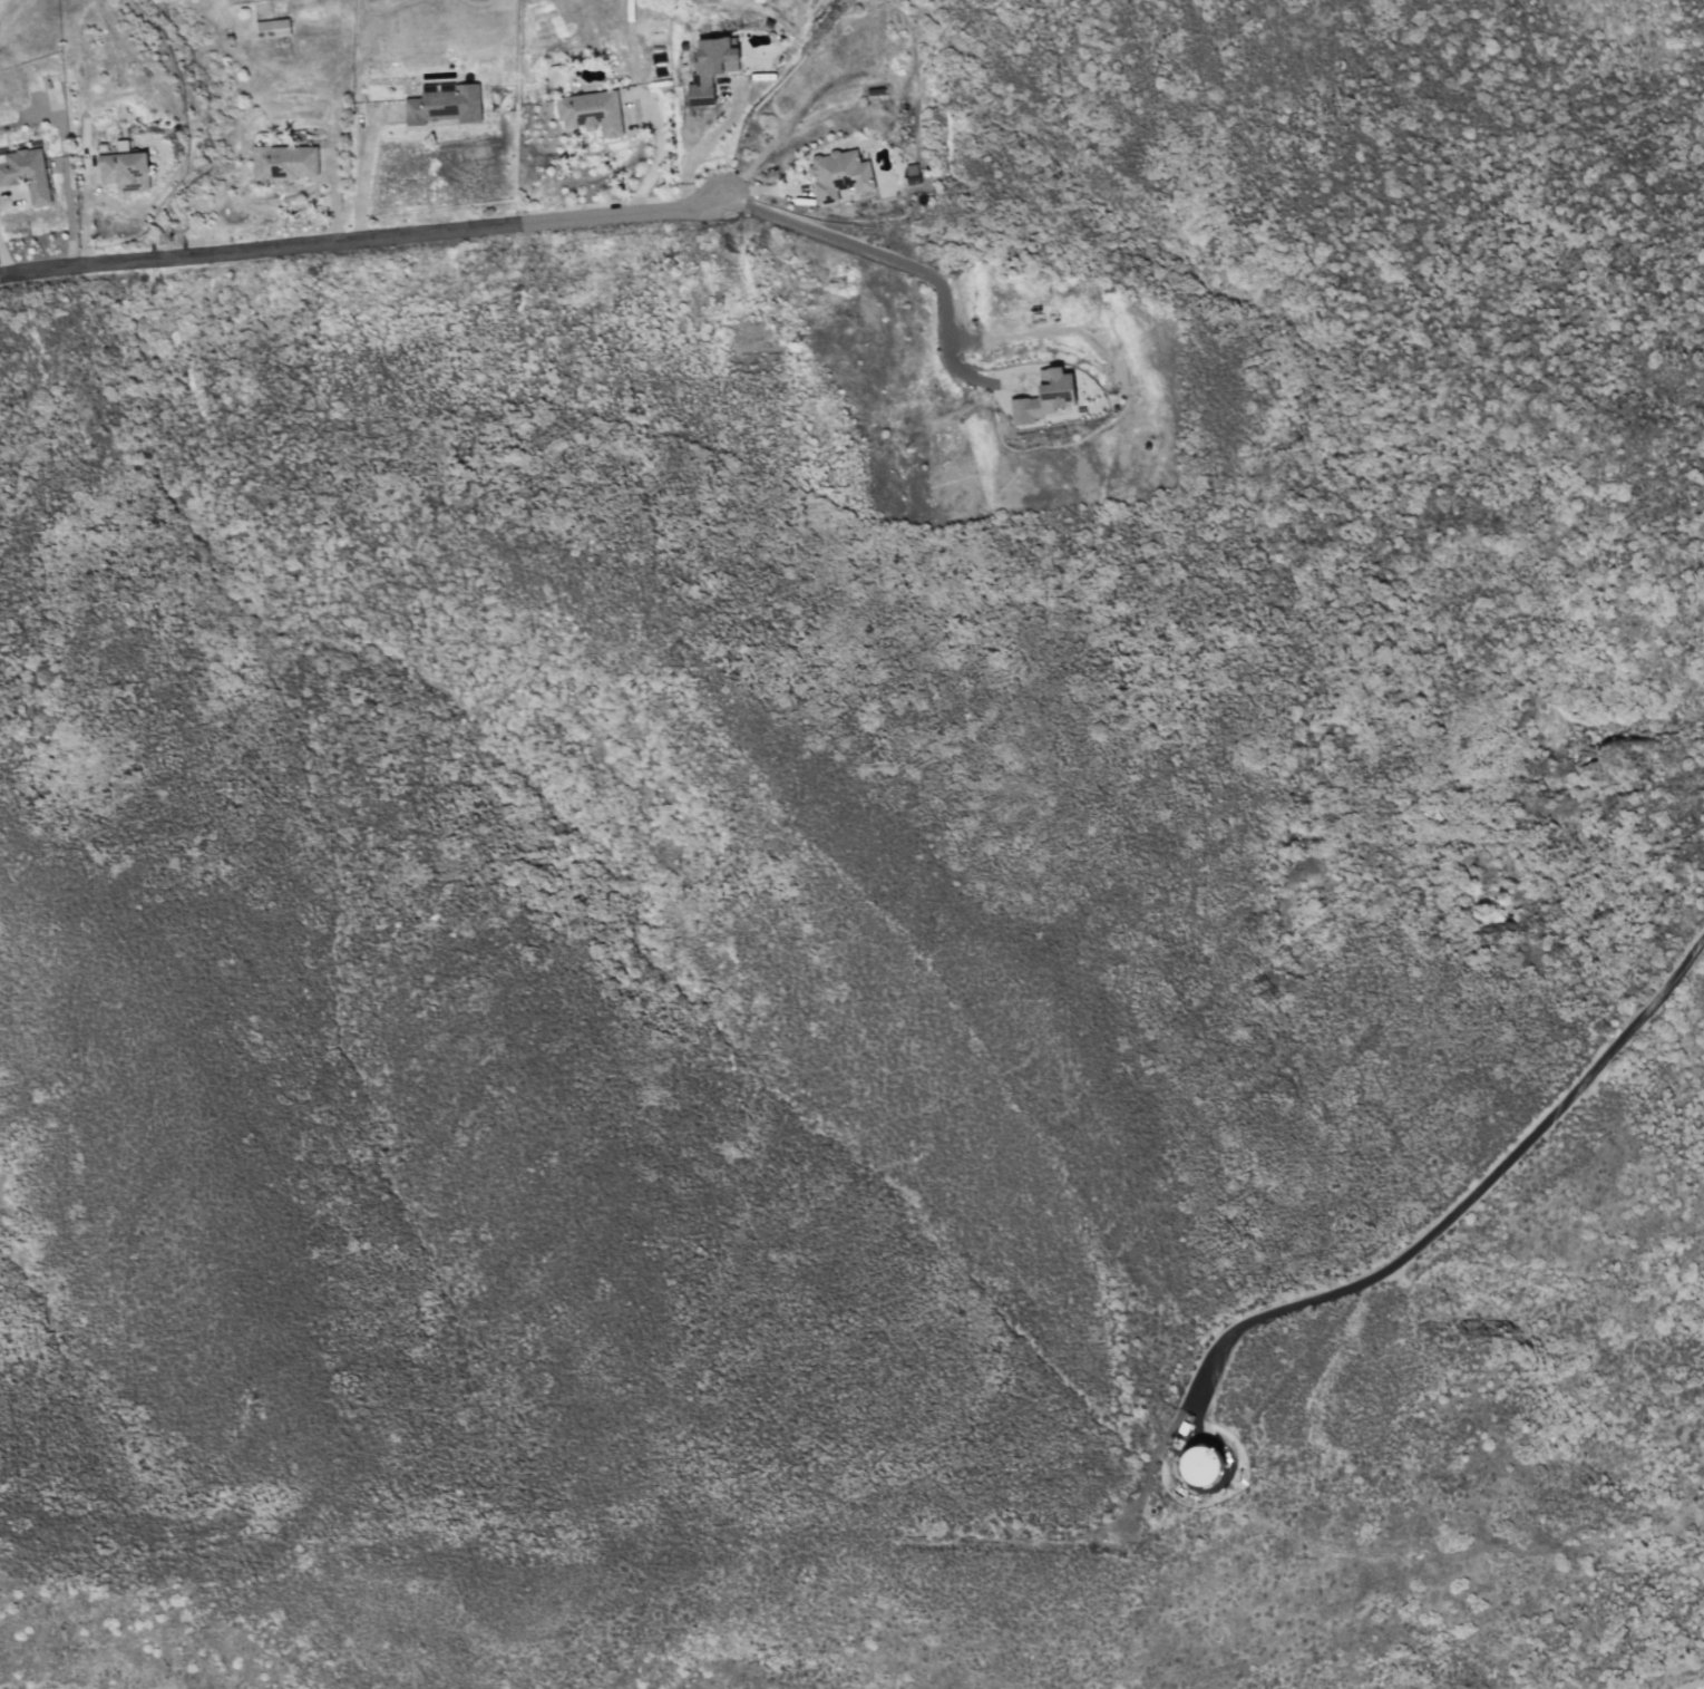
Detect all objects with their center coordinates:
building: (272, 28)
building: (710, 67)
building: (444, 104)
building: (591, 113)
road: (710, 142)
road: (661, 146)
building: (124, 169)
building: (26, 173)
road: (363, 173)
building: (839, 176)
road: (342, 241)
road: (857, 245)
building: (1044, 398)
building: (1200, 1464)

